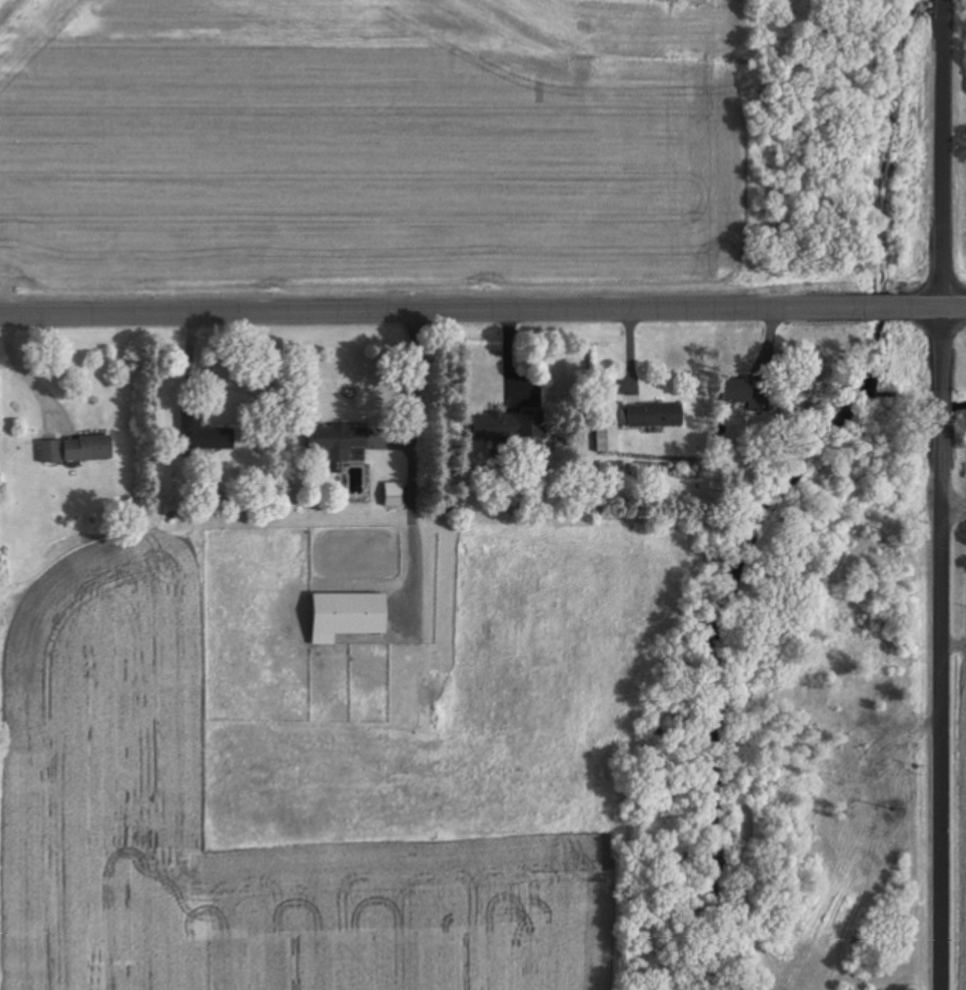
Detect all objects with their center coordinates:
road: (943, 2)
river: (912, 23)
road: (943, 198)
river: (884, 224)
road: (883, 307)
road: (936, 307)
road: (430, 311)
building: (744, 393)
road: (943, 405)
building: (656, 414)
building: (506, 426)
building: (204, 433)
building: (608, 438)
building: (341, 442)
building: (78, 449)
building: (350, 615)
river: (716, 671)
road: (943, 705)
crop: (958, 811)

